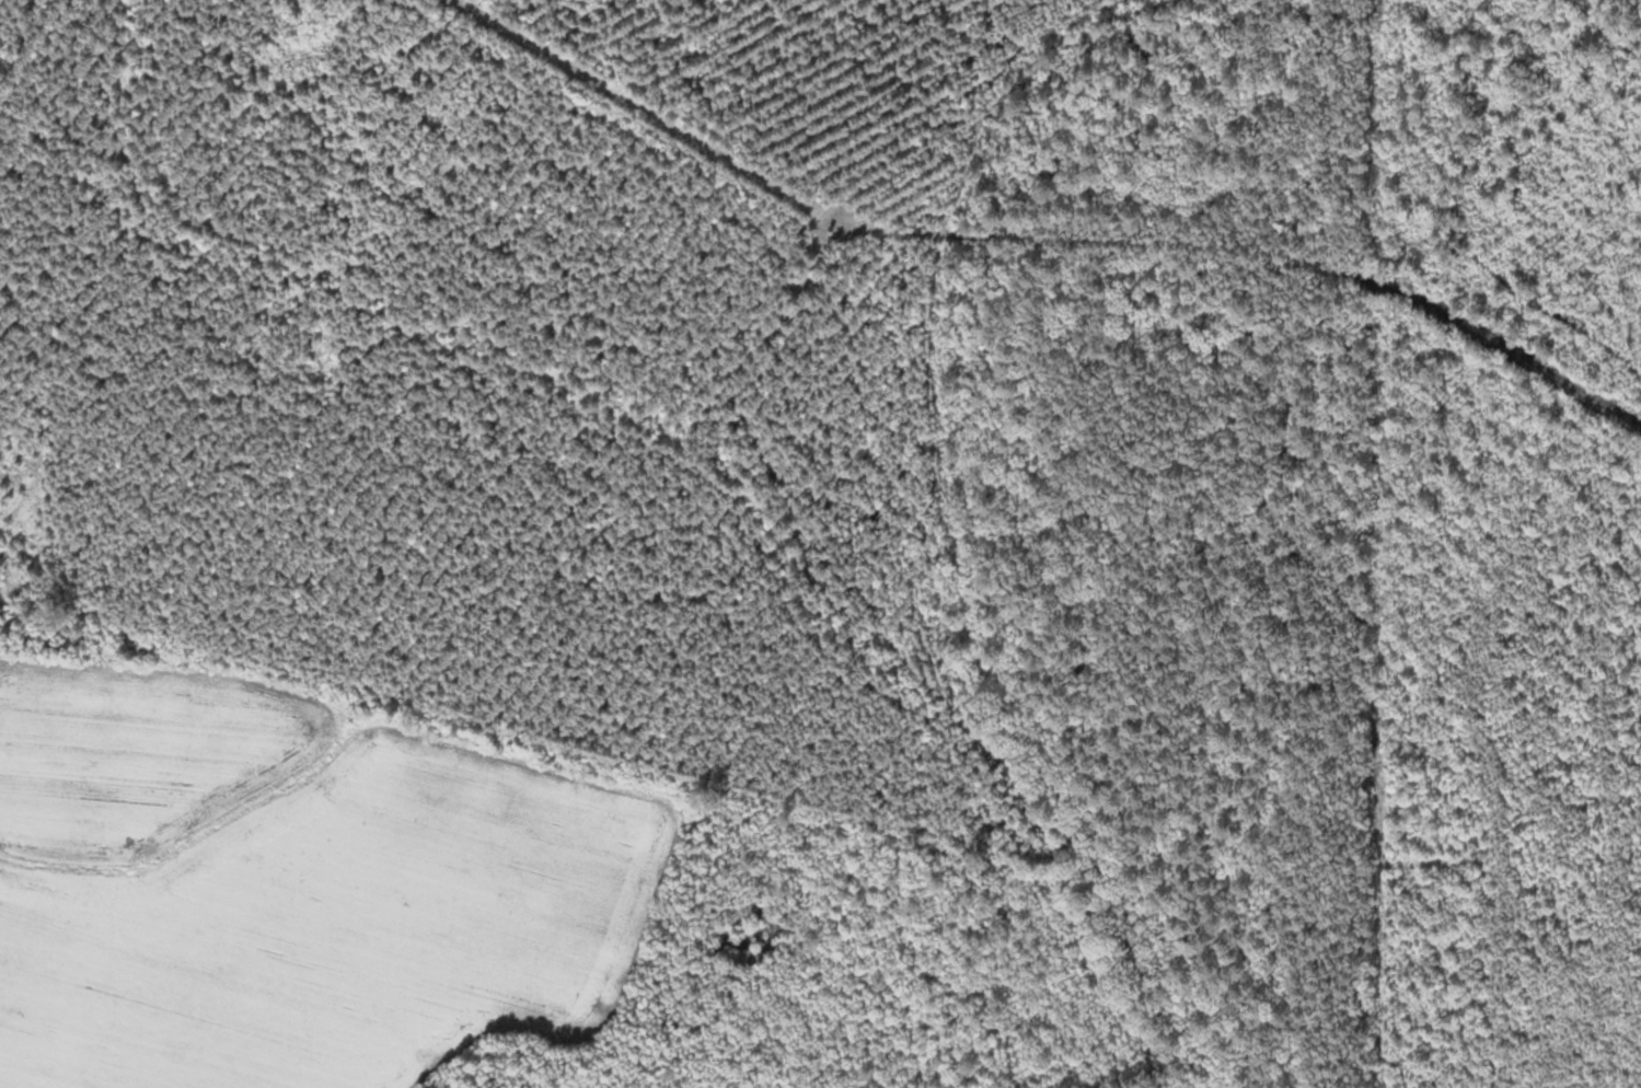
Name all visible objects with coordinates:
road: (643, 111)

